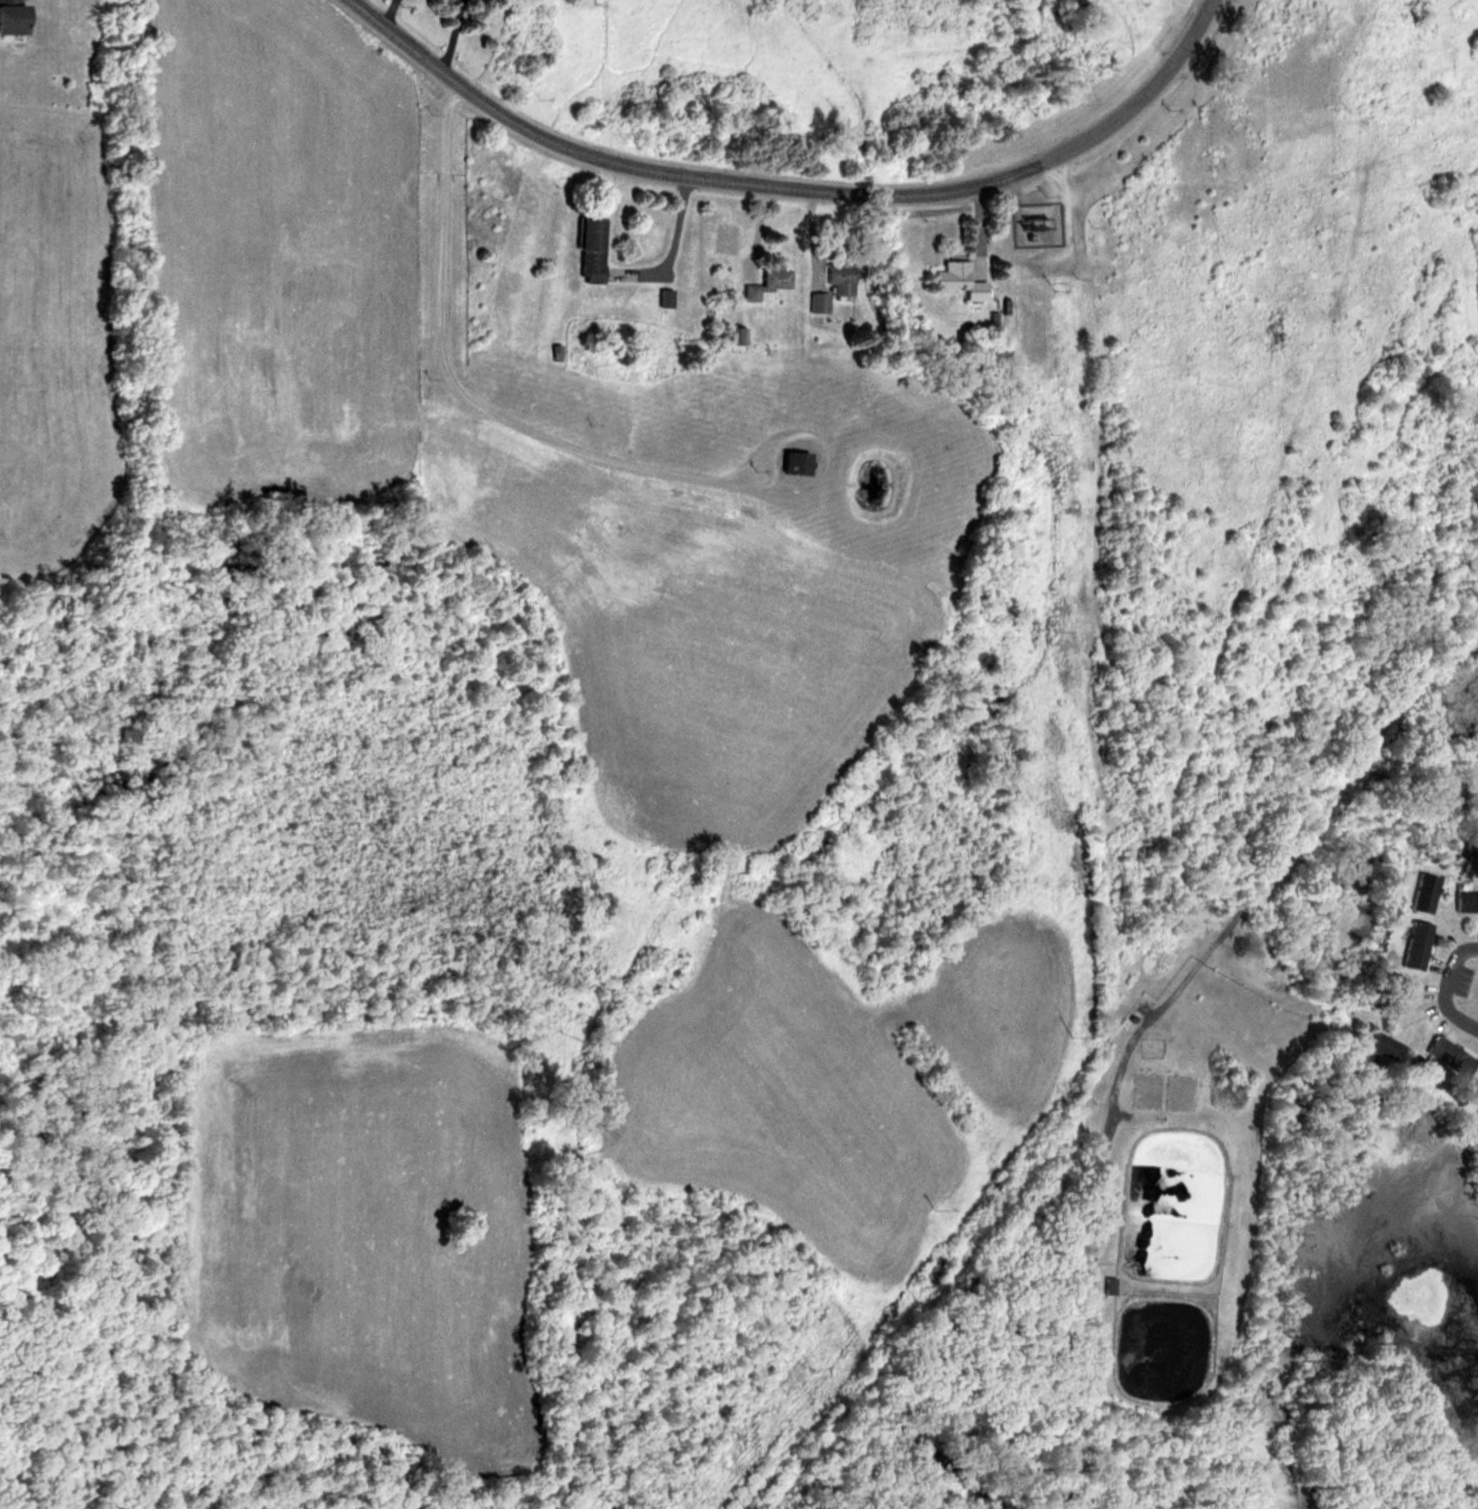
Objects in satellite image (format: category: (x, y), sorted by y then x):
building: (11, 17)
road: (1145, 92)
road: (682, 172)
road: (667, 244)
building: (584, 246)
building: (951, 278)
building: (764, 282)
building: (830, 286)
building: (660, 297)
building: (732, 335)
building: (550, 353)
road: (459, 391)
building: (788, 462)
building: (1419, 893)
building: (1464, 900)
building: (1411, 945)
road: (1442, 986)
building: (1388, 995)
building: (1446, 1055)
building: (1474, 1091)
building: (1103, 1285)

